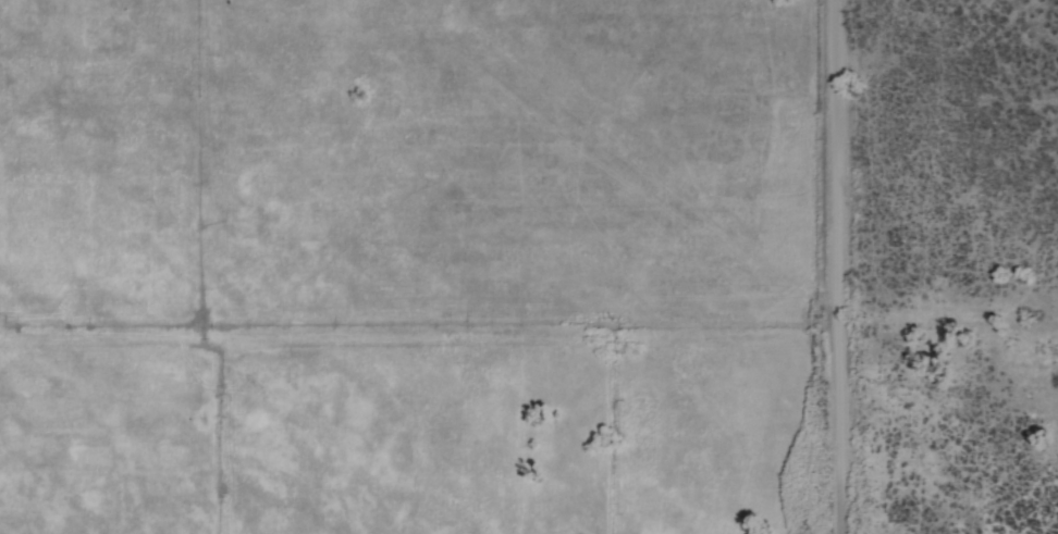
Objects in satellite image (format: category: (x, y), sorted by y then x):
road: (842, 266)

